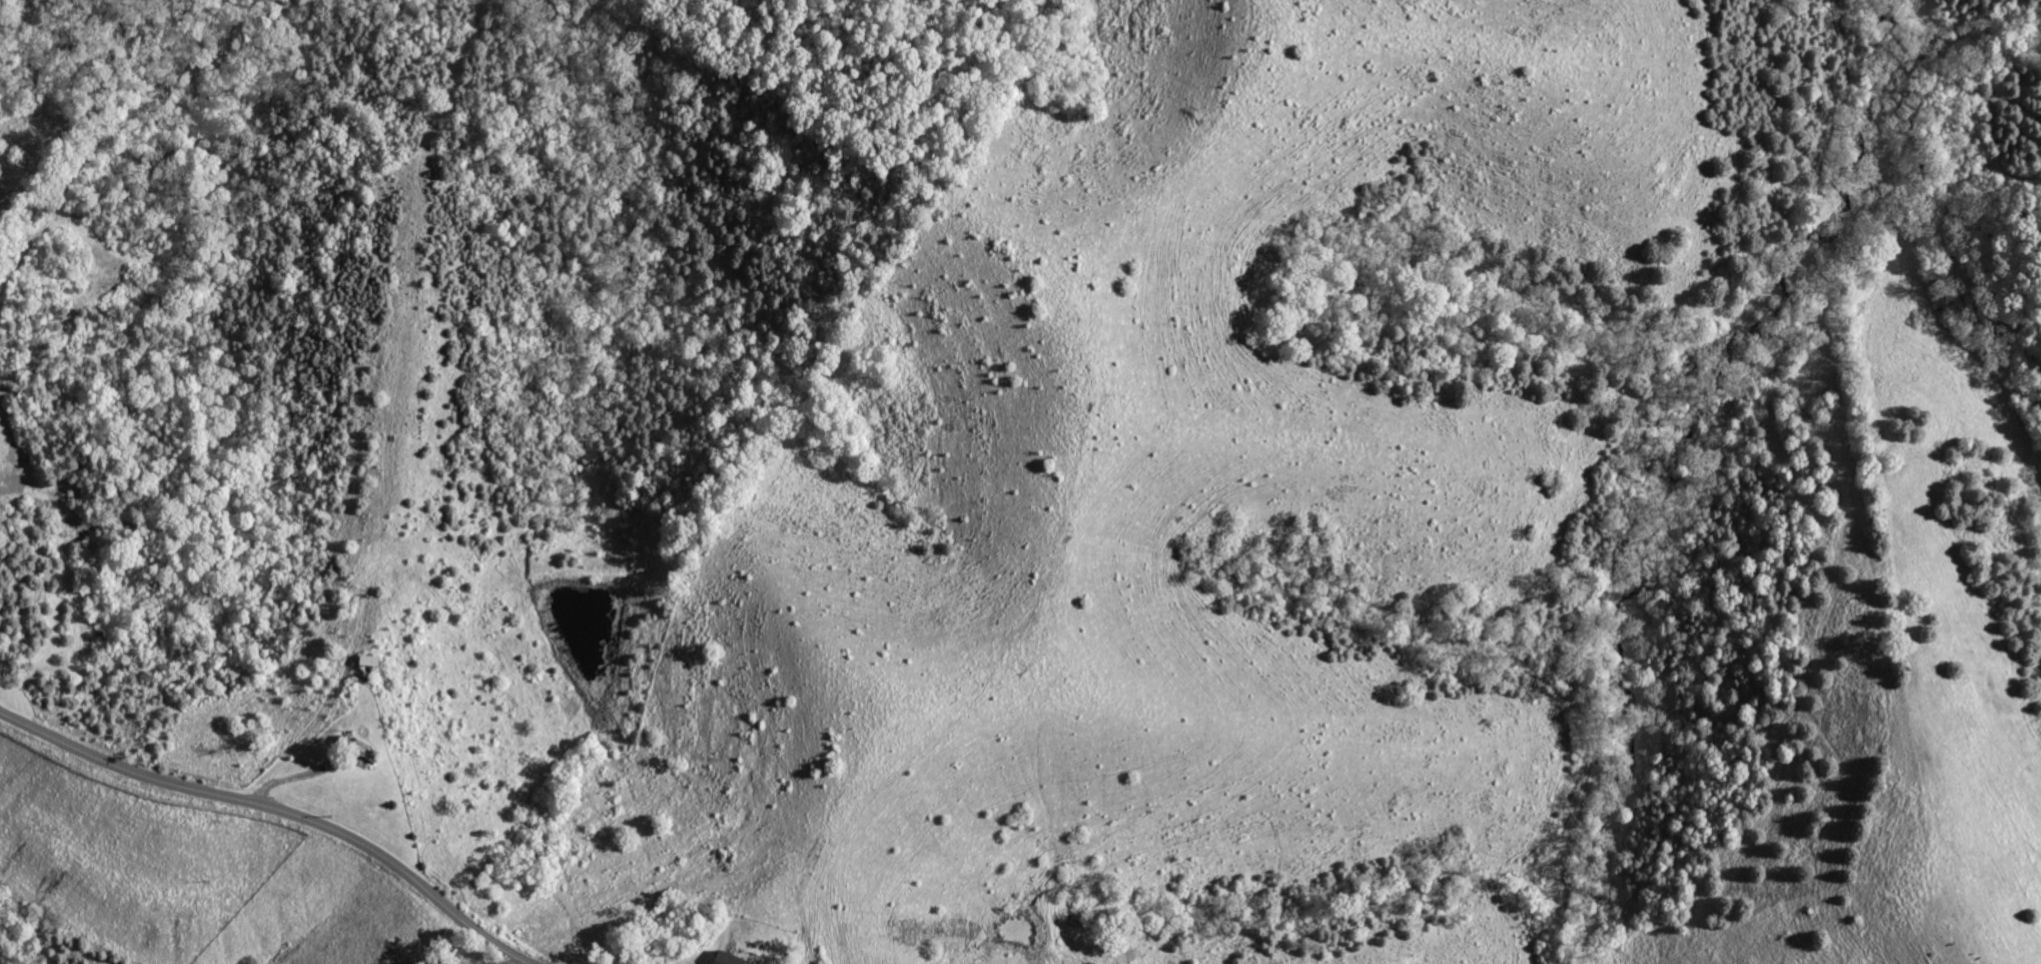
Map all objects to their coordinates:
road: (278, 811)
building: (731, 959)

